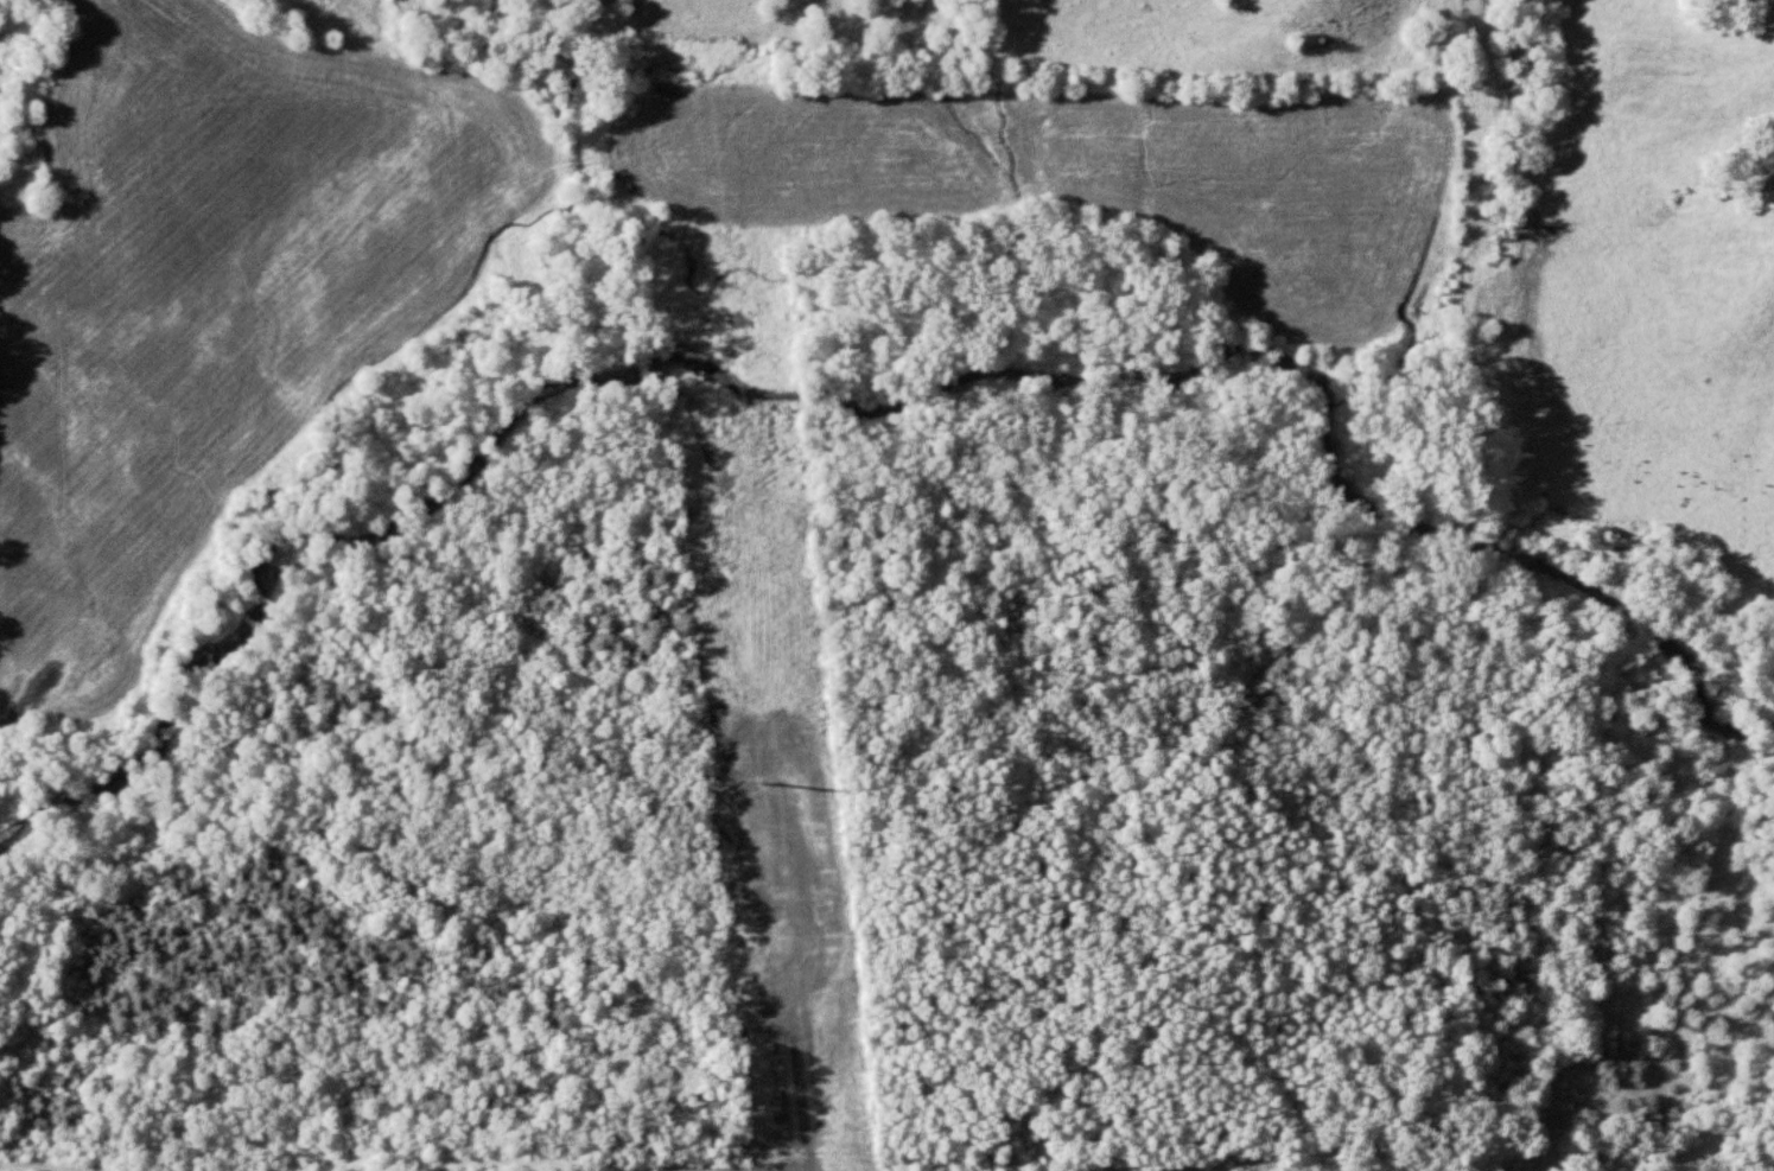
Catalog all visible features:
power tower: (763, 777)

